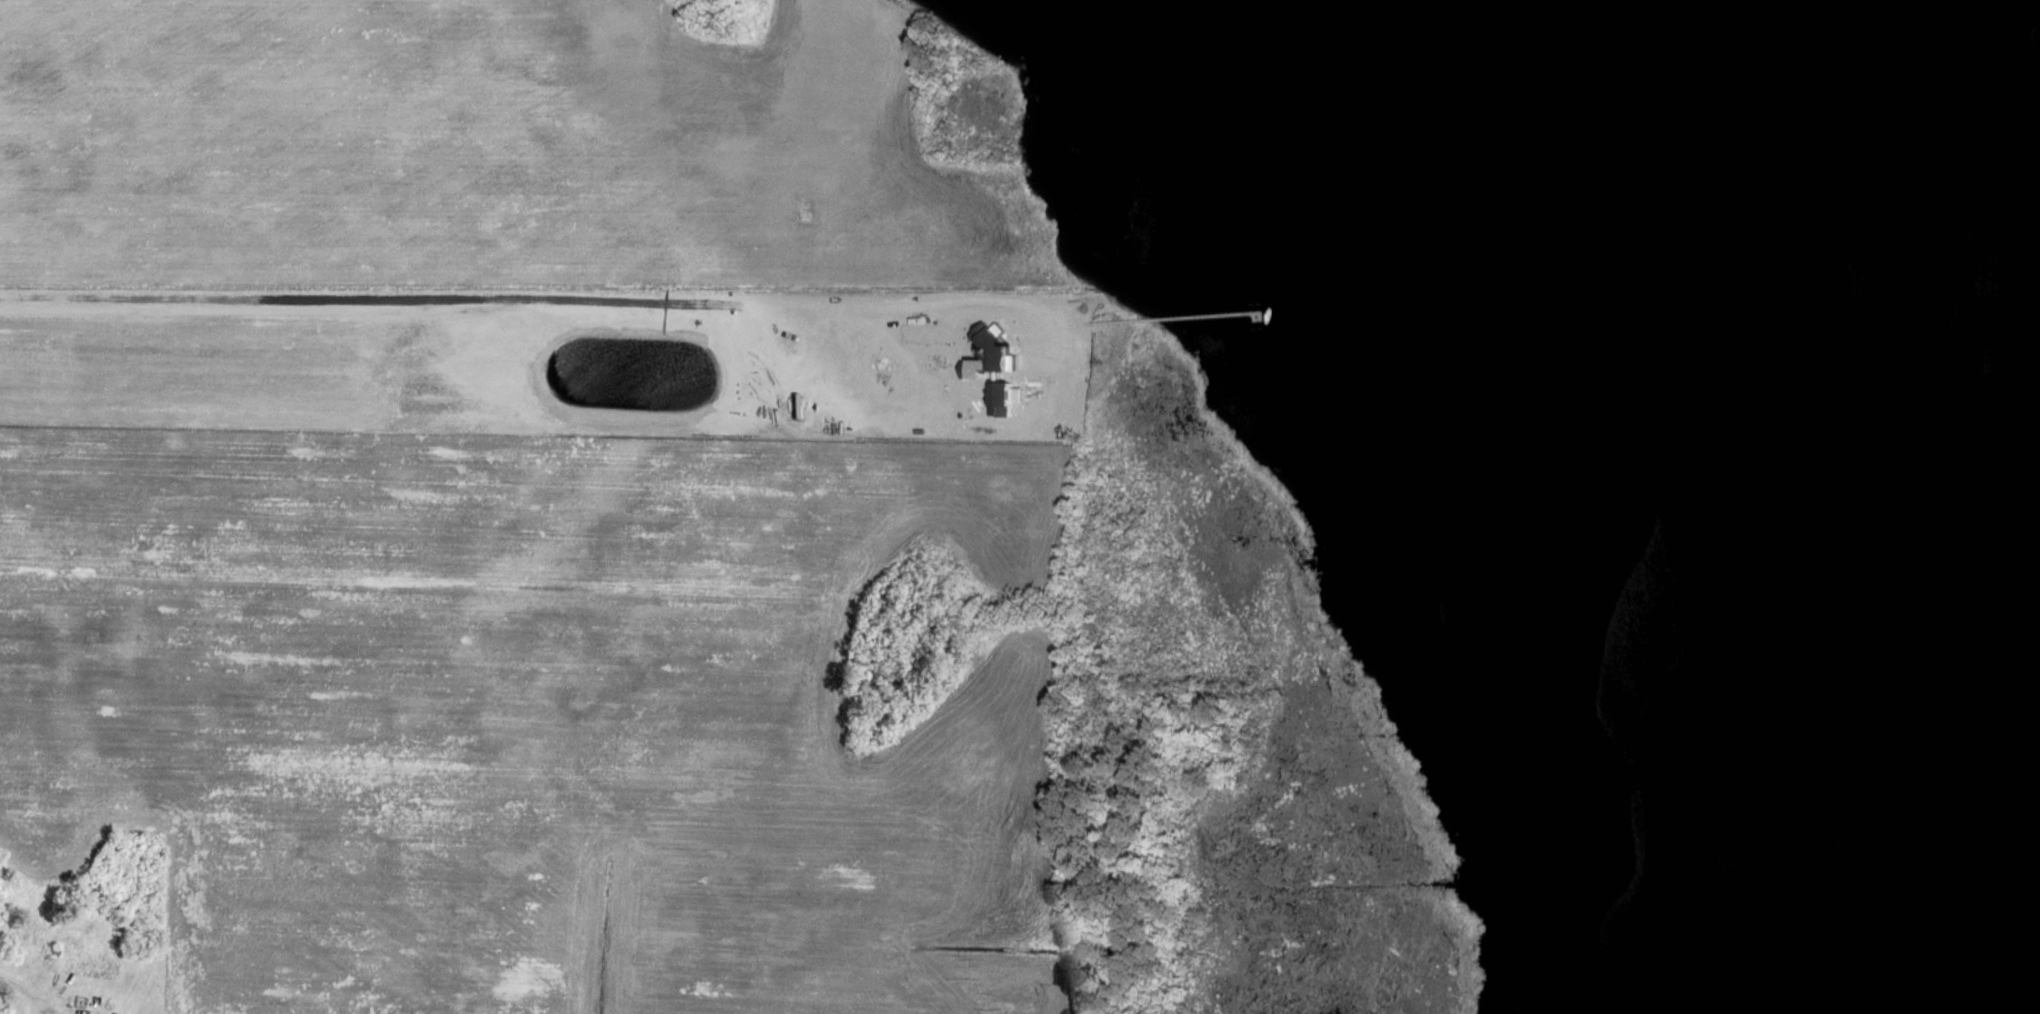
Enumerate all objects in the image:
crop: (473, 146)
road: (503, 302)
building: (1004, 366)
crop: (531, 720)
road: (24, 991)
road: (49, 1010)
park: (264, 1013)

